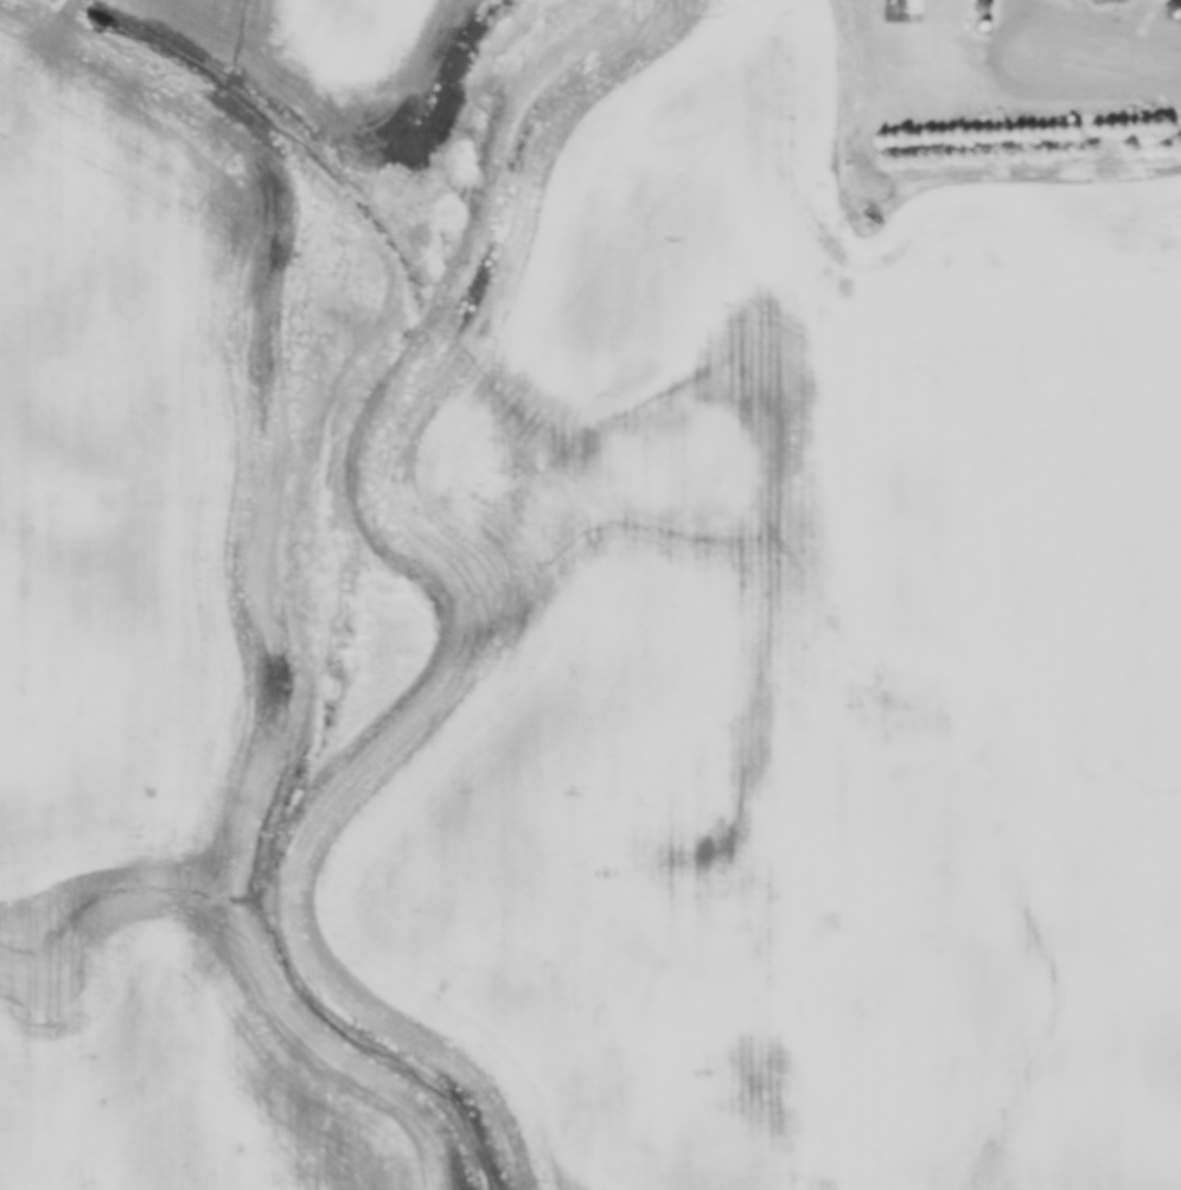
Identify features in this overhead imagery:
road: (1086, 44)

